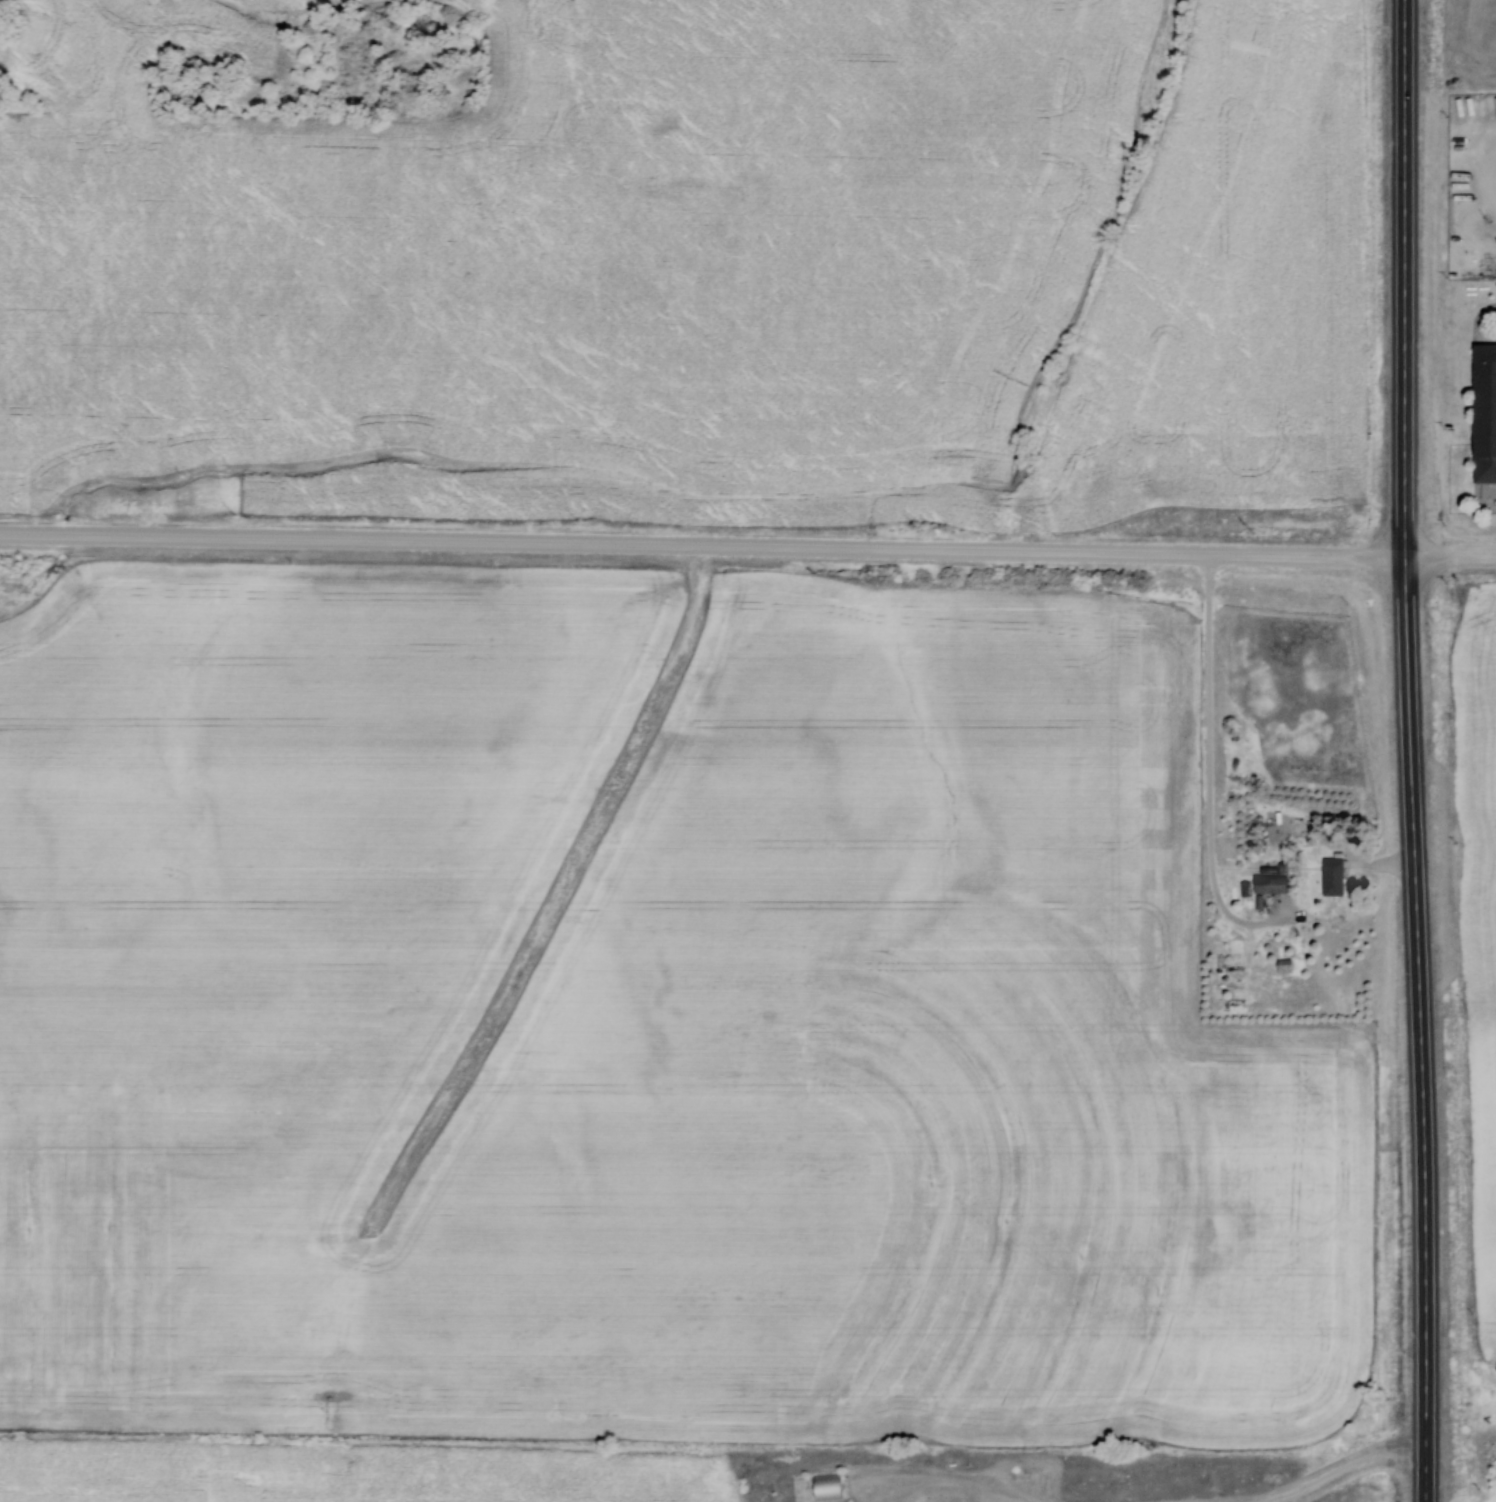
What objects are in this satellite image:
road: (1403, 43)
road: (1403, 323)
building: (1484, 412)
road: (702, 546)
road: (1450, 558)
building: (1333, 878)
building: (1274, 882)
road: (1414, 1030)
road: (1345, 1468)
building: (821, 1487)

